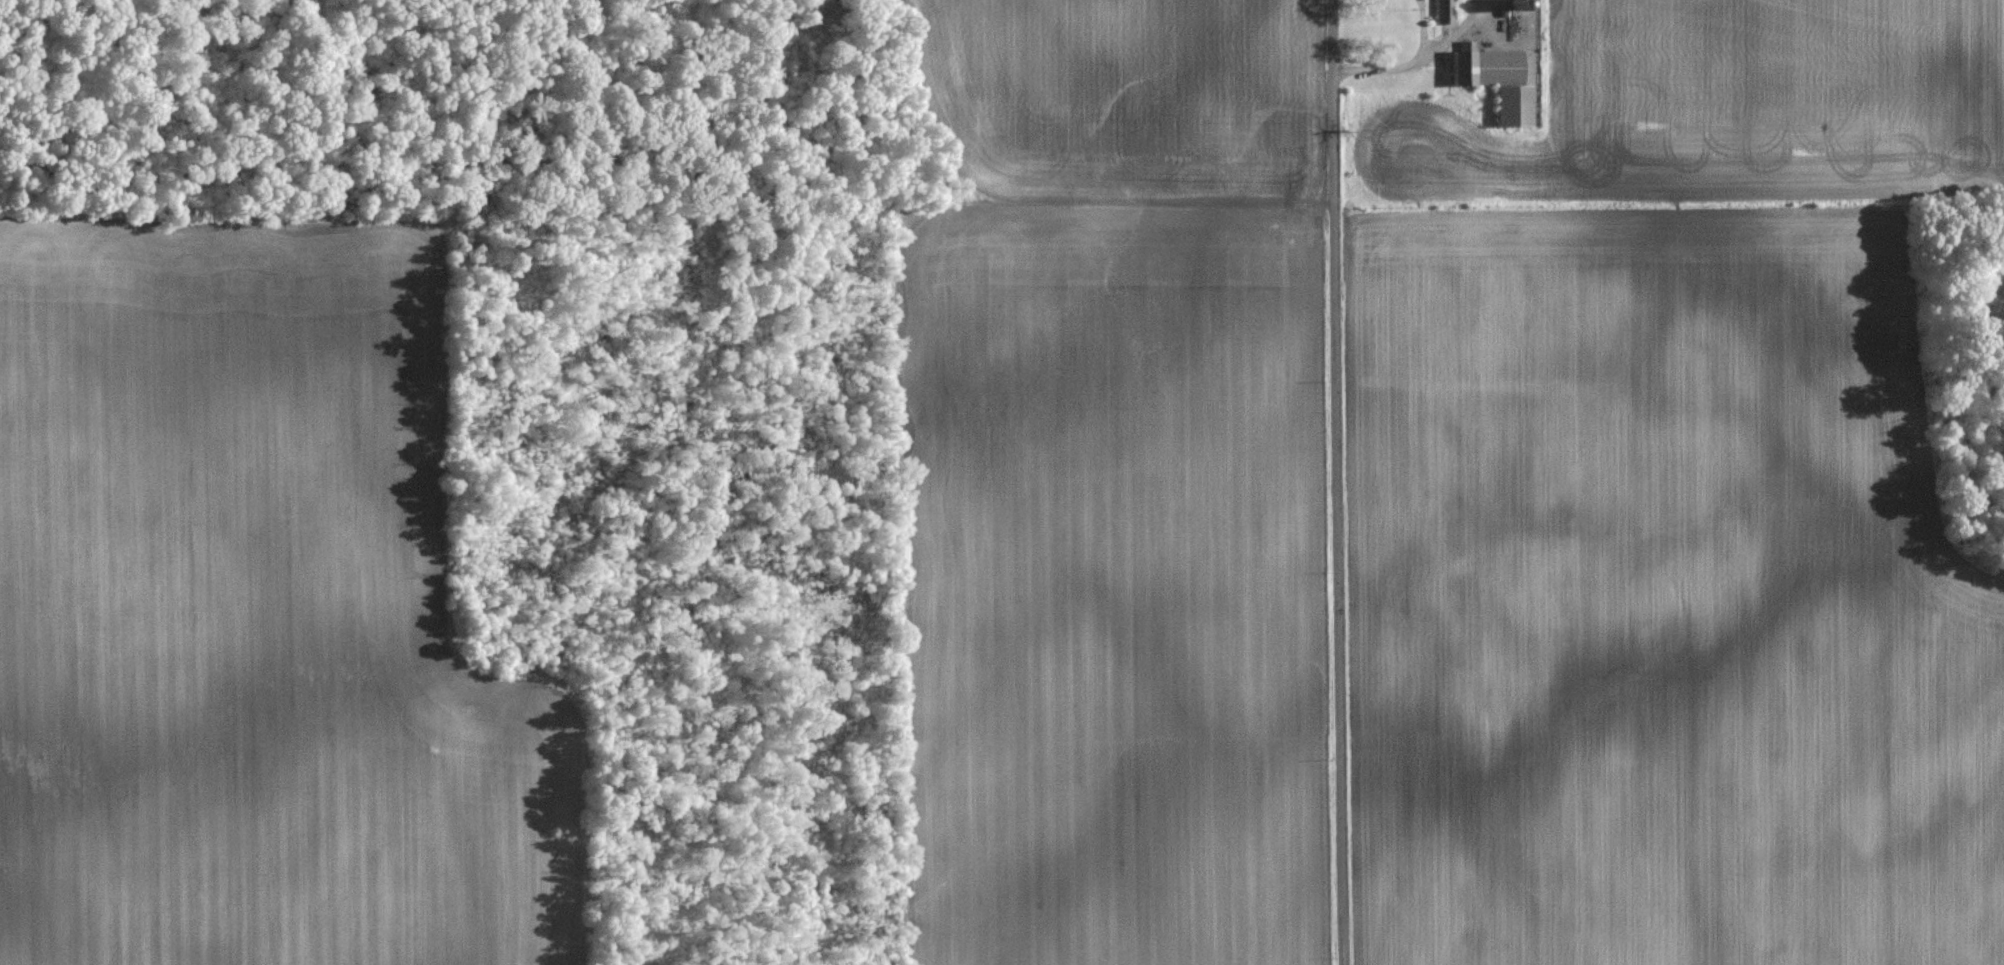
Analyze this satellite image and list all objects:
road: (1404, 64)
building: (1497, 80)
road: (1336, 482)

